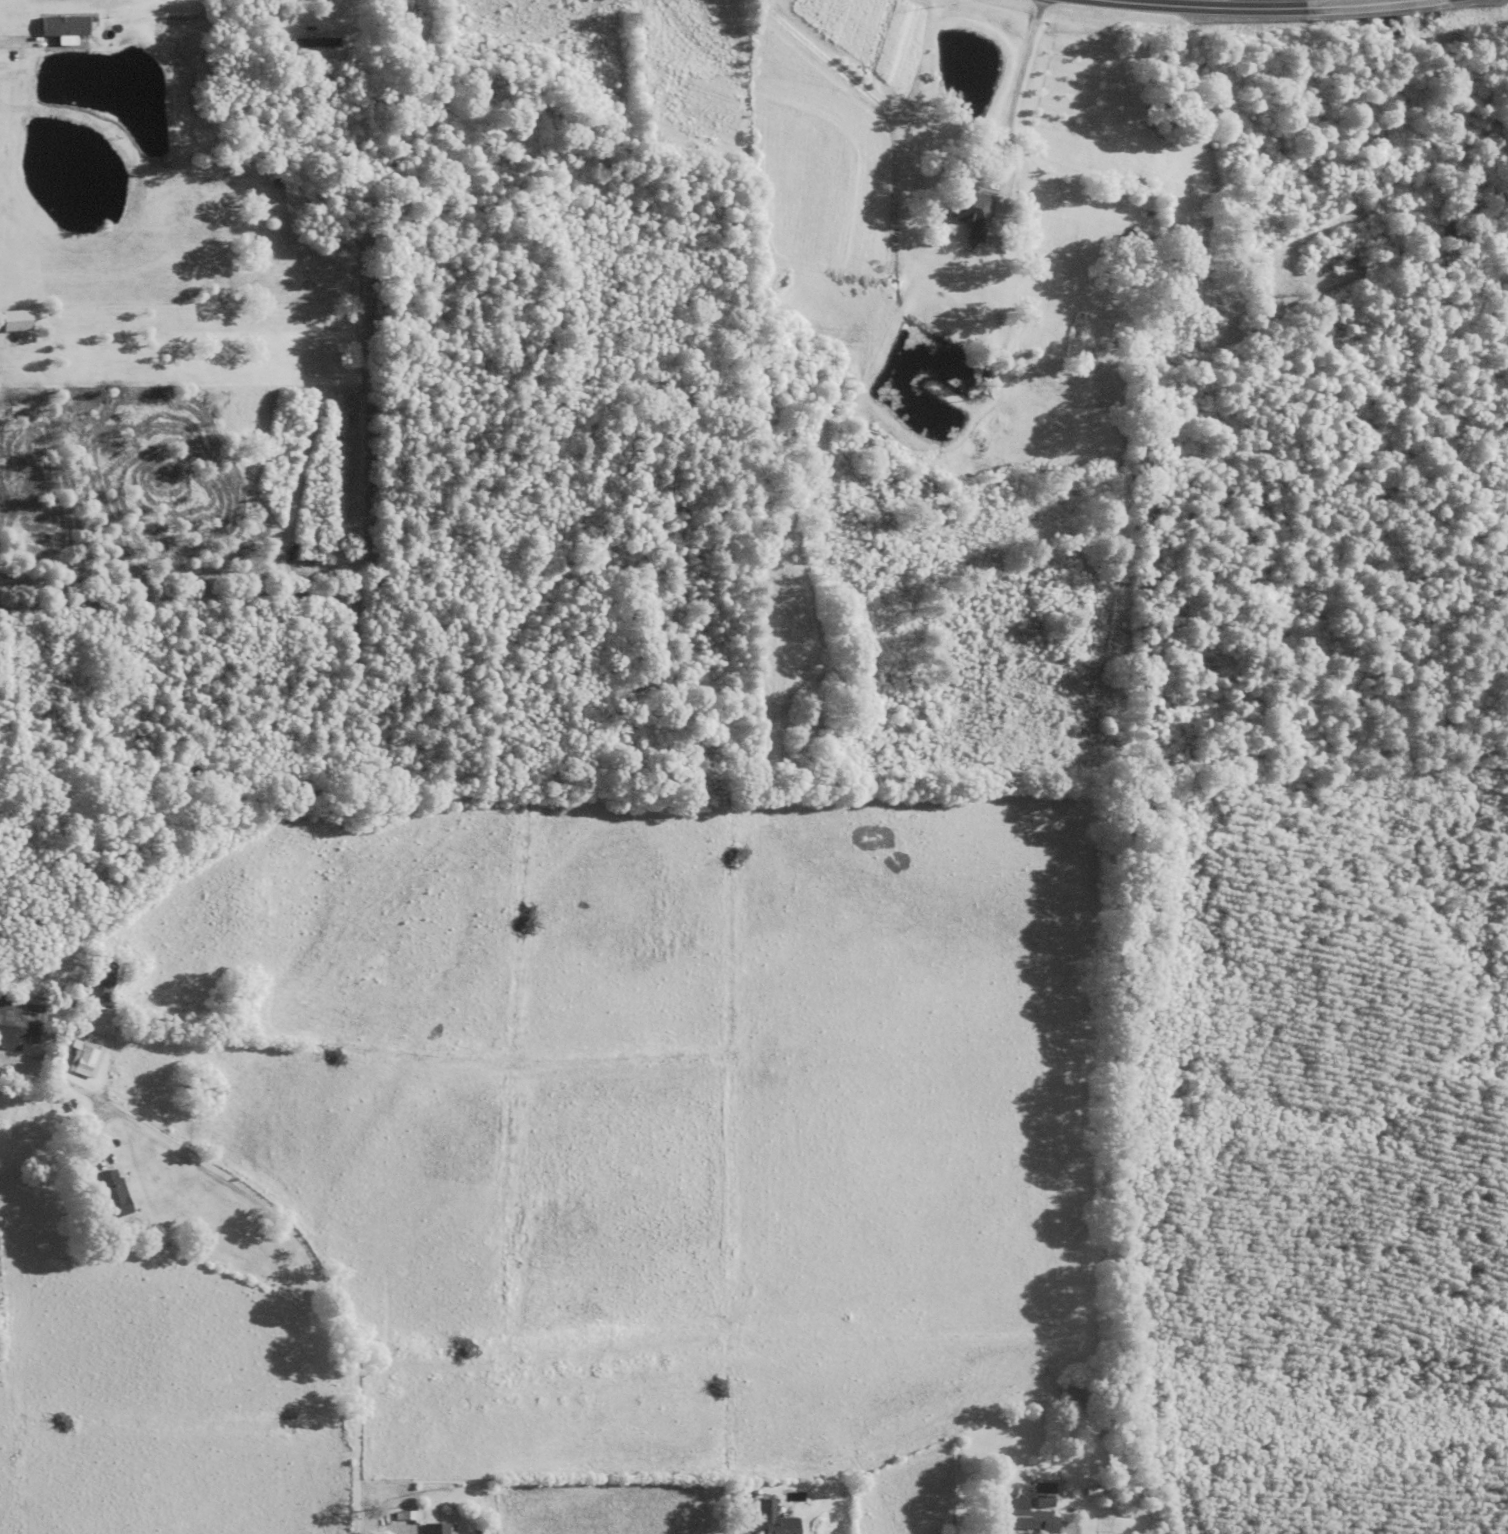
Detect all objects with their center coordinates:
road: (1354, 4)
road: (1215, 6)
building: (402, 17)
road: (339, 21)
building: (64, 24)
road: (18, 41)
crop: (858, 42)
road: (1016, 84)
river: (1420, 102)
road: (995, 145)
building: (969, 210)
road: (997, 210)
river: (1447, 232)
building: (102, 987)
building: (19, 1023)
building: (83, 1061)
building: (114, 1195)
road: (308, 1247)
building: (1068, 1395)
building: (777, 1521)
building: (1030, 1522)
building: (441, 1529)

